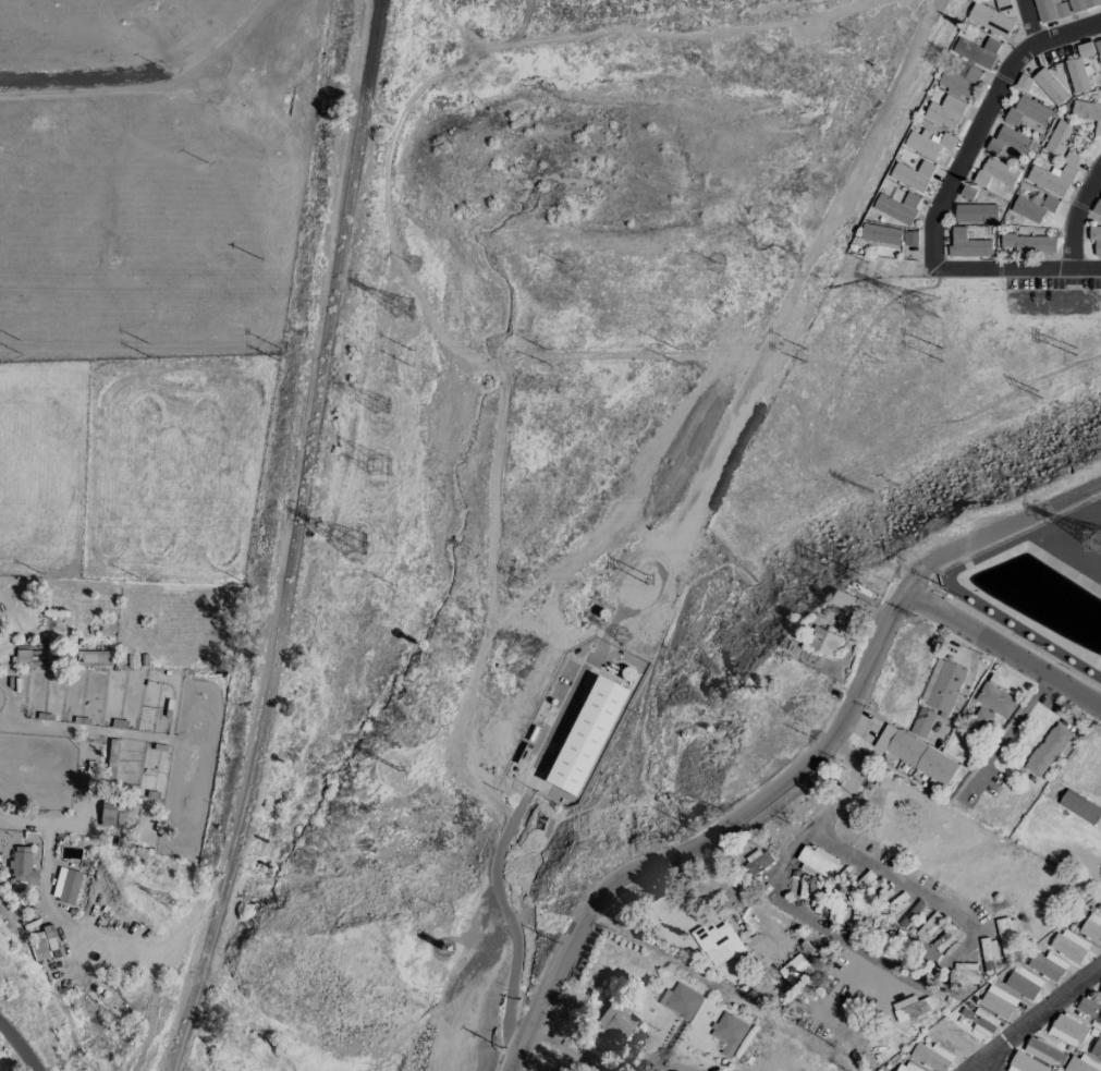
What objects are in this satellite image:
building: (1003, 4)
building: (1082, 4)
building: (1049, 10)
building: (990, 20)
road: (1030, 21)
road: (1069, 29)
road: (665, 32)
building: (1098, 46)
building: (1085, 49)
building: (977, 50)
building: (1078, 74)
building: (1024, 82)
building: (959, 83)
building: (1050, 86)
building: (298, 105)
building: (946, 111)
building: (1028, 112)
building: (1088, 112)
building: (1060, 137)
building: (1008, 142)
building: (925, 146)
building: (1073, 157)
building: (996, 173)
building: (913, 175)
building: (1051, 179)
building: (967, 191)
building: (897, 206)
building: (1035, 207)
building: (1098, 207)
building: (976, 212)
building: (881, 233)
building: (1096, 240)
building: (1028, 244)
building: (967, 245)
road: (932, 261)
road: (1086, 268)
power tower: (400, 300)
power tower: (930, 303)
power tower: (16, 340)
power tower: (146, 343)
power tower: (937, 346)
power tower: (276, 349)
power tower: (674, 350)
power tower: (805, 350)
power tower: (408, 351)
power tower: (543, 351)
power tower: (15, 352)
power tower: (146, 357)
power tower: (937, 358)
power tower: (274, 361)
power tower: (805, 362)
power tower: (674, 363)
power tower: (543, 364)
power tower: (408, 366)
power tower: (386, 399)
power tower: (386, 461)
road: (996, 528)
railway: (293, 539)
power tower: (360, 539)
power substation: (1040, 592)
building: (843, 600)
building: (823, 641)
road: (1002, 650)
building: (22, 658)
building: (942, 685)
building: (995, 699)
building: (982, 715)
wastewater plant: (578, 721)
building: (921, 721)
road: (1013, 725)
building: (584, 735)
building: (1048, 749)
building: (916, 754)
building: (107, 812)
road: (708, 838)
road: (849, 852)
building: (816, 860)
building: (756, 862)
building: (21, 867)
building: (65, 886)
road: (499, 893)
building: (1099, 906)
building: (912, 913)
road: (813, 917)
building: (928, 925)
building: (1091, 927)
road: (93, 933)
building: (1007, 937)
building: (718, 941)
building: (942, 941)
building: (41, 944)
building: (1069, 946)
building: (989, 954)
building: (1047, 965)
building: (795, 970)
building: (967, 971)
building: (1023, 982)
building: (1100, 993)
building: (681, 1000)
building: (998, 1001)
building: (912, 1008)
building: (1088, 1008)
road: (1032, 1019)
building: (980, 1021)
building: (616, 1022)
building: (1067, 1029)
road: (509, 1033)
building: (729, 1033)
building: (955, 1039)
road: (19, 1047)
building: (1097, 1048)
road: (567, 1049)
building: (1043, 1051)
building: (931, 1057)
building: (1025, 1063)
building: (1081, 1064)
road: (987, 1066)
building: (906, 1067)

